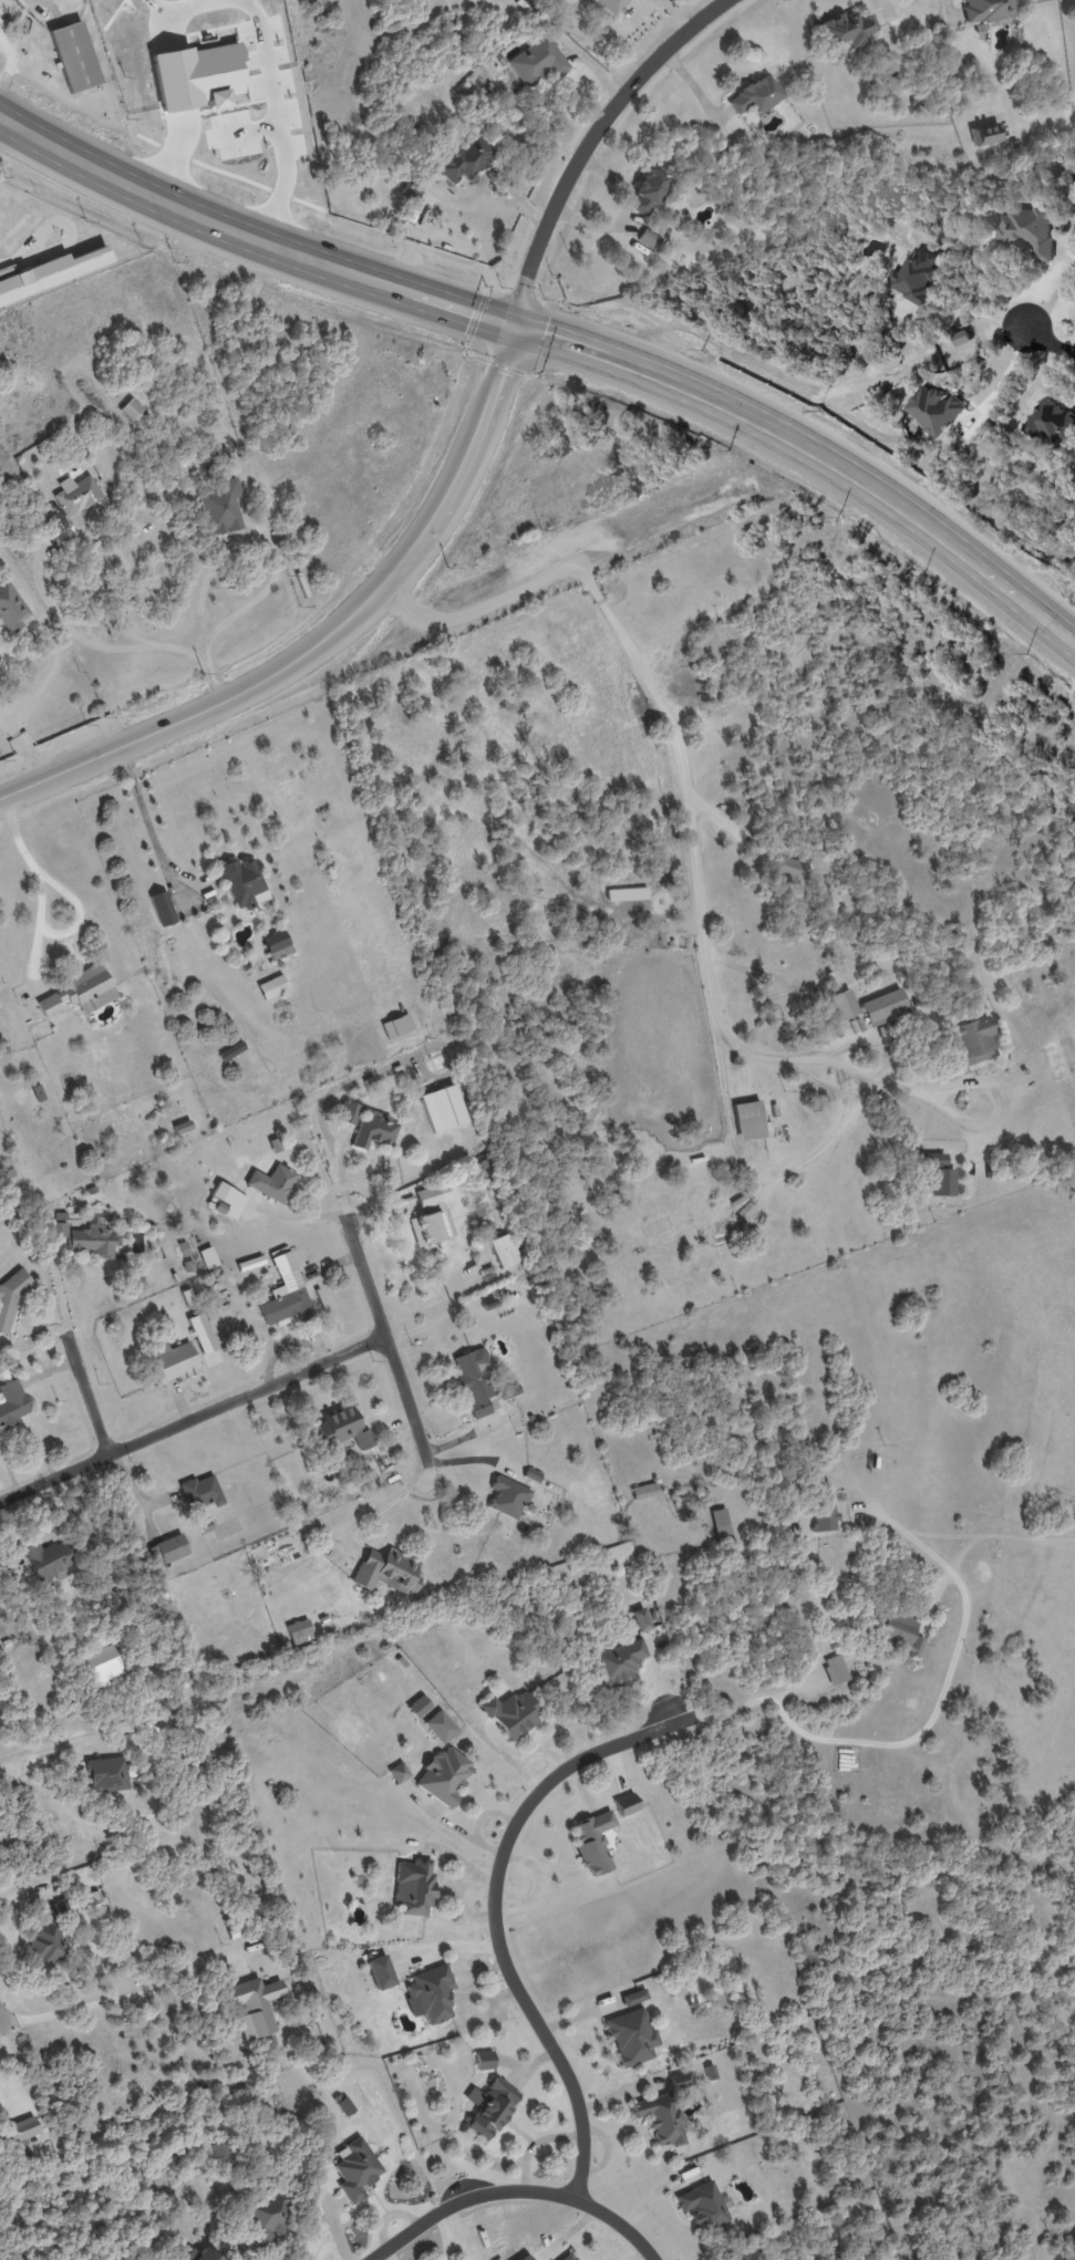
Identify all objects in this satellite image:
road: (176, 2)
building: (609, 6)
building: (985, 10)
building: (848, 29)
building: (75, 53)
building: (537, 61)
building: (197, 72)
building: (756, 95)
road: (280, 121)
road: (6, 133)
building: (985, 134)
road: (589, 143)
road: (170, 155)
building: (464, 159)
building: (648, 191)
building: (1025, 230)
building: (648, 238)
building: (53, 273)
building: (914, 277)
road: (412, 292)
road: (971, 310)
traffic signals: (513, 326)
building: (960, 339)
road: (1053, 345)
road: (1002, 379)
road: (836, 391)
building: (131, 408)
building: (933, 410)
building: (1050, 423)
building: (76, 494)
building: (220, 507)
building: (58, 522)
road: (259, 540)
road: (954, 551)
road: (43, 592)
building: (10, 608)
road: (325, 634)
road: (23, 745)
road: (688, 806)
road: (146, 825)
building: (788, 869)
building: (246, 887)
building: (627, 893)
road: (72, 896)
building: (162, 908)
building: (276, 944)
building: (271, 986)
building: (95, 997)
building: (843, 1004)
building: (48, 1005)
building: (882, 1007)
building: (396, 1025)
building: (973, 1040)
building: (231, 1050)
building: (444, 1107)
building: (748, 1119)
building: (370, 1126)
building: (182, 1127)
building: (938, 1173)
building: (277, 1182)
building: (225, 1199)
building: (435, 1226)
building: (82, 1234)
building: (504, 1250)
building: (287, 1268)
building: (14, 1298)
building: (286, 1305)
road: (382, 1330)
building: (204, 1331)
building: (176, 1364)
building: (478, 1372)
building: (508, 1391)
road: (86, 1393)
building: (13, 1407)
road: (192, 1419)
building: (342, 1428)
building: (645, 1490)
building: (201, 1492)
building: (505, 1497)
road: (389, 1499)
building: (823, 1516)
building: (721, 1524)
building: (169, 1547)
building: (385, 1570)
building: (64, 1576)
building: (640, 1619)
building: (299, 1628)
building: (899, 1631)
building: (104, 1661)
building: (618, 1662)
building: (835, 1669)
building: (417, 1706)
building: (513, 1713)
road: (929, 1723)
building: (440, 1725)
road: (52, 1744)
building: (104, 1772)
building: (399, 1772)
building: (444, 1775)
building: (626, 1804)
building: (592, 1842)
building: (414, 1887)
road: (496, 1911)
building: (46, 1942)
building: (380, 1971)
building: (428, 1994)
building: (633, 1997)
road: (103, 2001)
building: (254, 2009)
road: (1, 2026)
building: (631, 2036)
building: (484, 2060)
building: (680, 2080)
building: (343, 2104)
building: (489, 2106)
building: (661, 2118)
building: (18, 2127)
building: (355, 2168)
road: (515, 2190)
building: (702, 2206)
building: (268, 2218)
building: (199, 2254)
building: (746, 2254)
building: (567, 2257)

